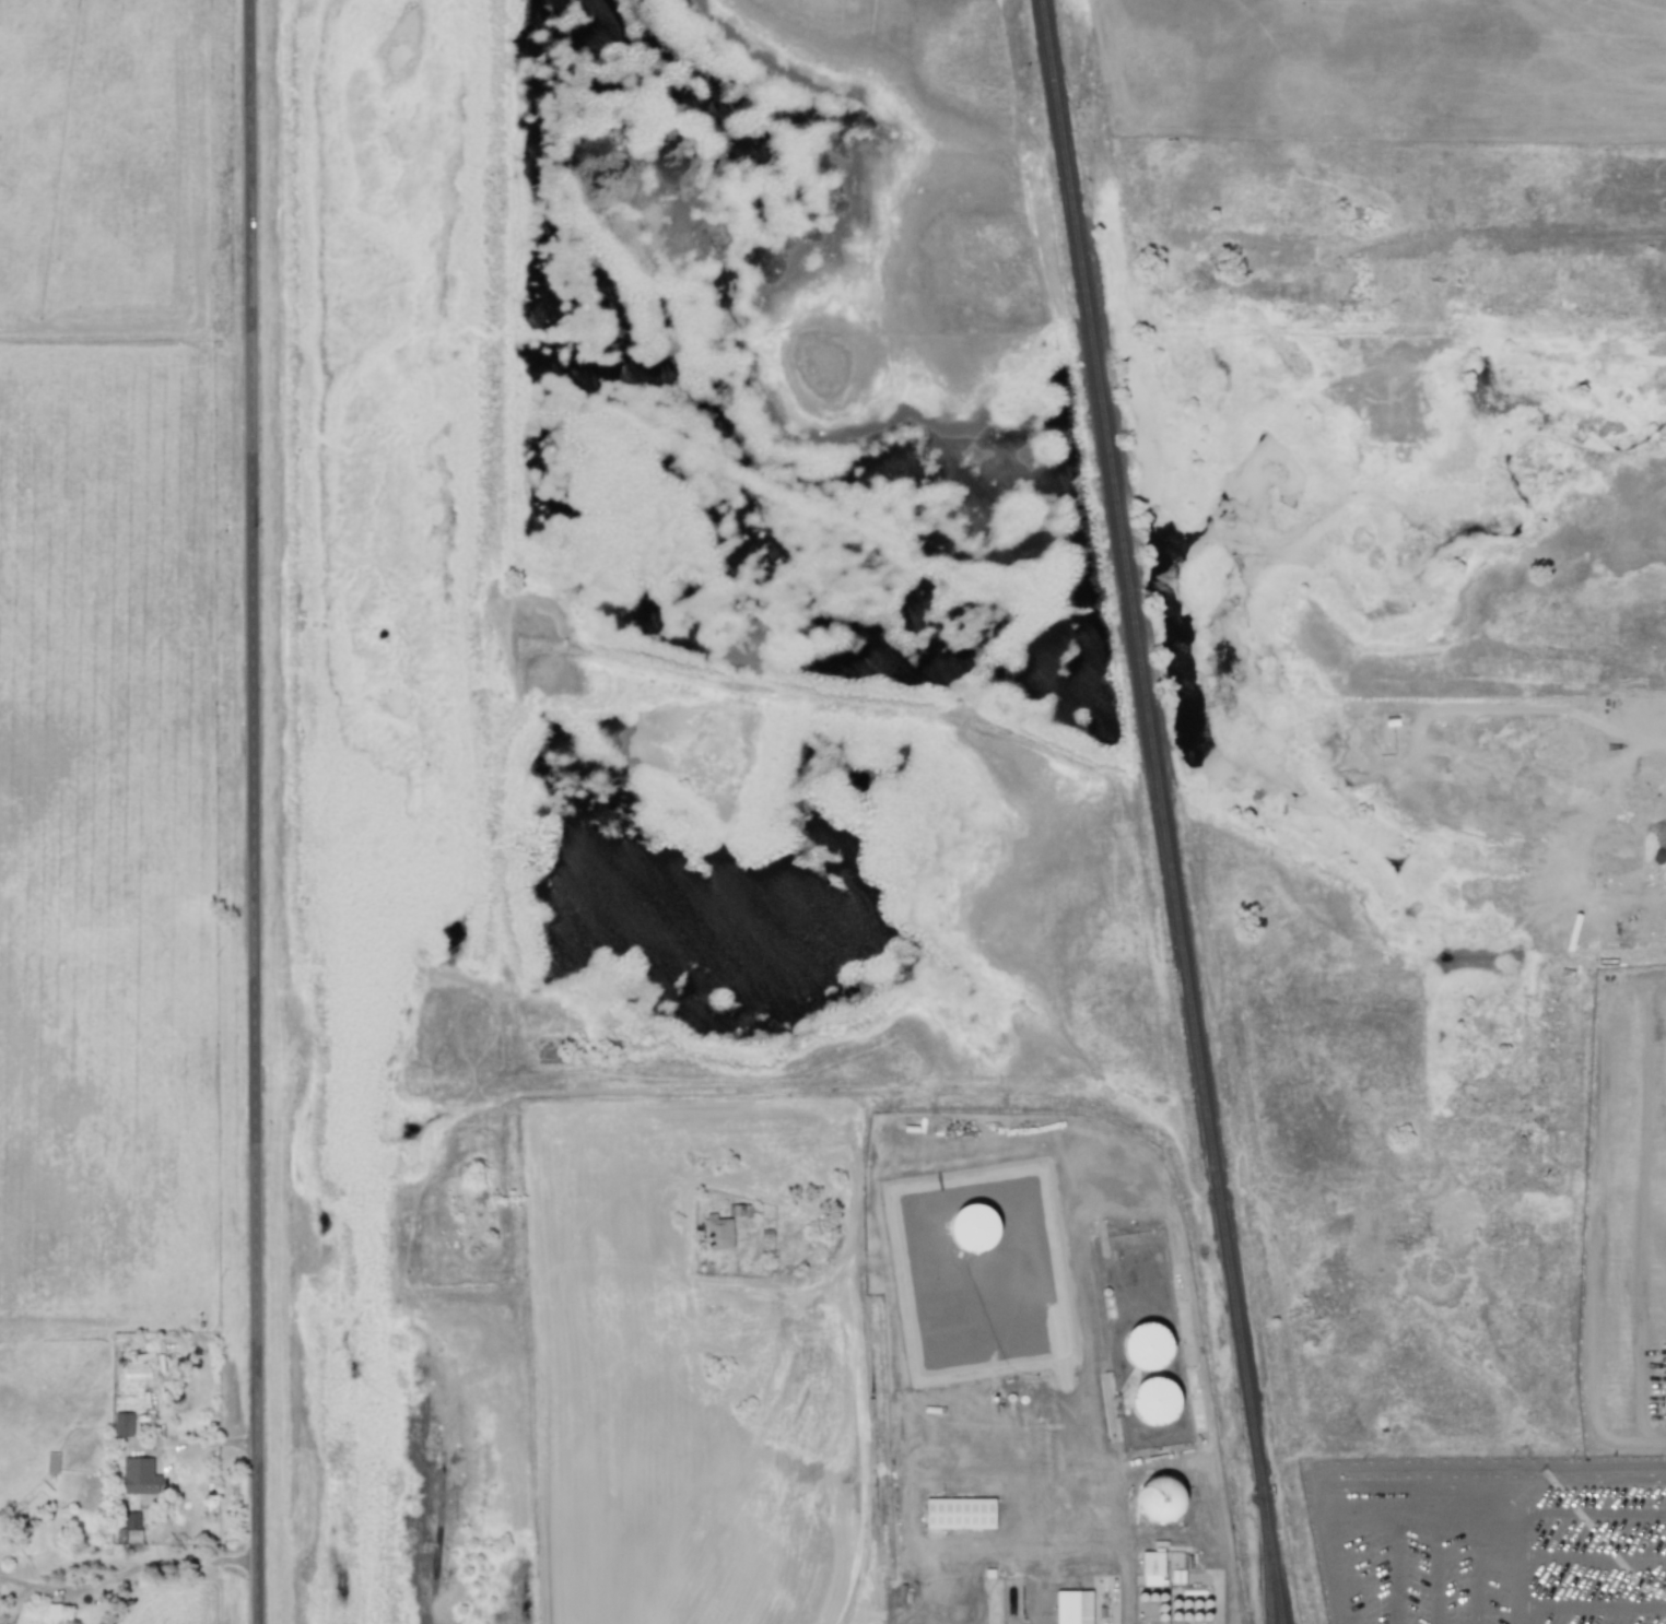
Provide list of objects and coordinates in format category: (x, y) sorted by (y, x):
road: (512, 548)
railway: (1150, 725)
road: (254, 811)
road: (1657, 844)
road: (1129, 1185)
road: (1597, 1216)
building: (973, 1227)
building: (716, 1232)
road: (879, 1260)
building: (1147, 1346)
building: (1155, 1401)
building: (122, 1425)
road: (864, 1456)
road: (1155, 1461)
road: (1492, 1467)
building: (139, 1476)
road: (1416, 1486)
building: (1160, 1499)
building: (958, 1514)
road: (1589, 1514)
building: (129, 1528)
railway: (1270, 1535)
road: (1200, 1542)
road: (1046, 1544)
road: (1326, 1545)
road: (1514, 1556)
road: (1589, 1556)
railway: (1269, 1560)
road: (154, 1563)
building: (1152, 1568)
building: (1072, 1607)
road: (1424, 1610)
road: (1589, 1611)
building: (49, 1614)

